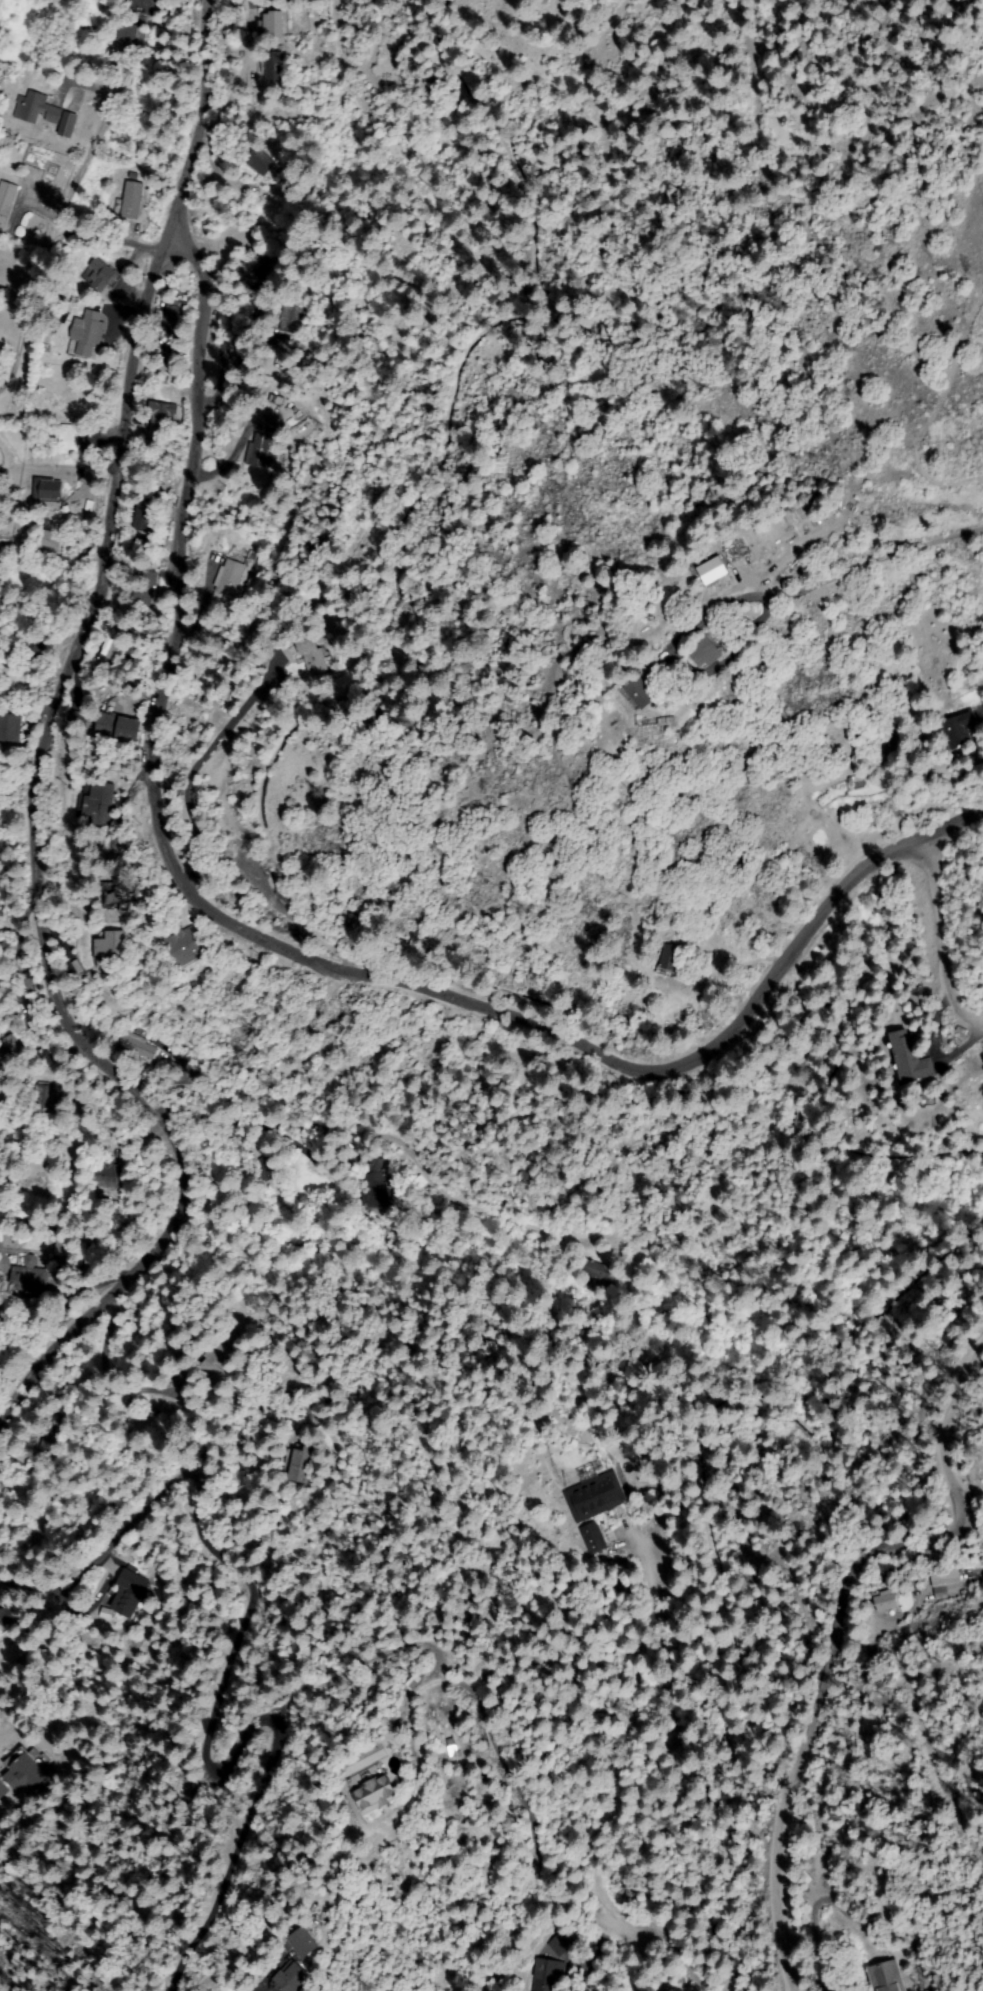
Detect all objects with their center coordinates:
building: (143, 4)
building: (270, 25)
building: (127, 32)
building: (274, 69)
building: (37, 109)
building: (68, 126)
road: (99, 145)
road: (142, 160)
building: (259, 162)
building: (6, 201)
building: (133, 201)
building: (260, 266)
road: (23, 270)
building: (100, 274)
building: (60, 311)
building: (172, 315)
building: (291, 319)
building: (87, 333)
building: (159, 423)
building: (67, 441)
building: (263, 451)
building: (49, 492)
building: (143, 515)
building: (50, 541)
building: (709, 570)
building: (229, 577)
building: (144, 587)
building: (30, 649)
building: (114, 651)
building: (704, 652)
building: (313, 656)
building: (639, 692)
building: (76, 721)
building: (8, 728)
building: (117, 728)
building: (959, 730)
building: (855, 778)
road: (39, 792)
building: (96, 803)
storage tank: (245, 861)
road: (864, 869)
road: (179, 872)
storage tank: (260, 877)
building: (121, 897)
road: (939, 937)
building: (109, 945)
building: (187, 947)
building: (670, 961)
building: (76, 968)
building: (133, 1045)
building: (9, 1049)
building: (909, 1059)
building: (46, 1097)
building: (802, 1122)
road: (115, 1138)
building: (543, 1149)
building: (265, 1168)
building: (103, 1176)
road: (886, 1177)
building: (420, 1182)
building: (374, 1186)
building: (1, 1235)
building: (65, 1247)
building: (30, 1262)
building: (90, 1267)
road: (274, 1268)
building: (598, 1275)
building: (29, 1280)
building: (220, 1357)
building: (149, 1411)
building: (51, 1433)
building: (300, 1465)
building: (593, 1497)
building: (591, 1538)
building: (943, 1577)
road: (86, 1578)
road: (28, 1590)
building: (129, 1592)
building: (885, 1602)
building: (106, 1614)
building: (5, 1617)
road: (846, 1635)
road: (212, 1674)
building: (409, 1679)
road: (9, 1732)
building: (24, 1773)
building: (3, 1791)
building: (375, 1794)
building: (803, 1878)
building: (586, 1938)
building: (303, 1942)
building: (560, 1943)
building: (547, 1976)
building: (885, 1977)
building: (290, 1979)
building: (233, 1989)

